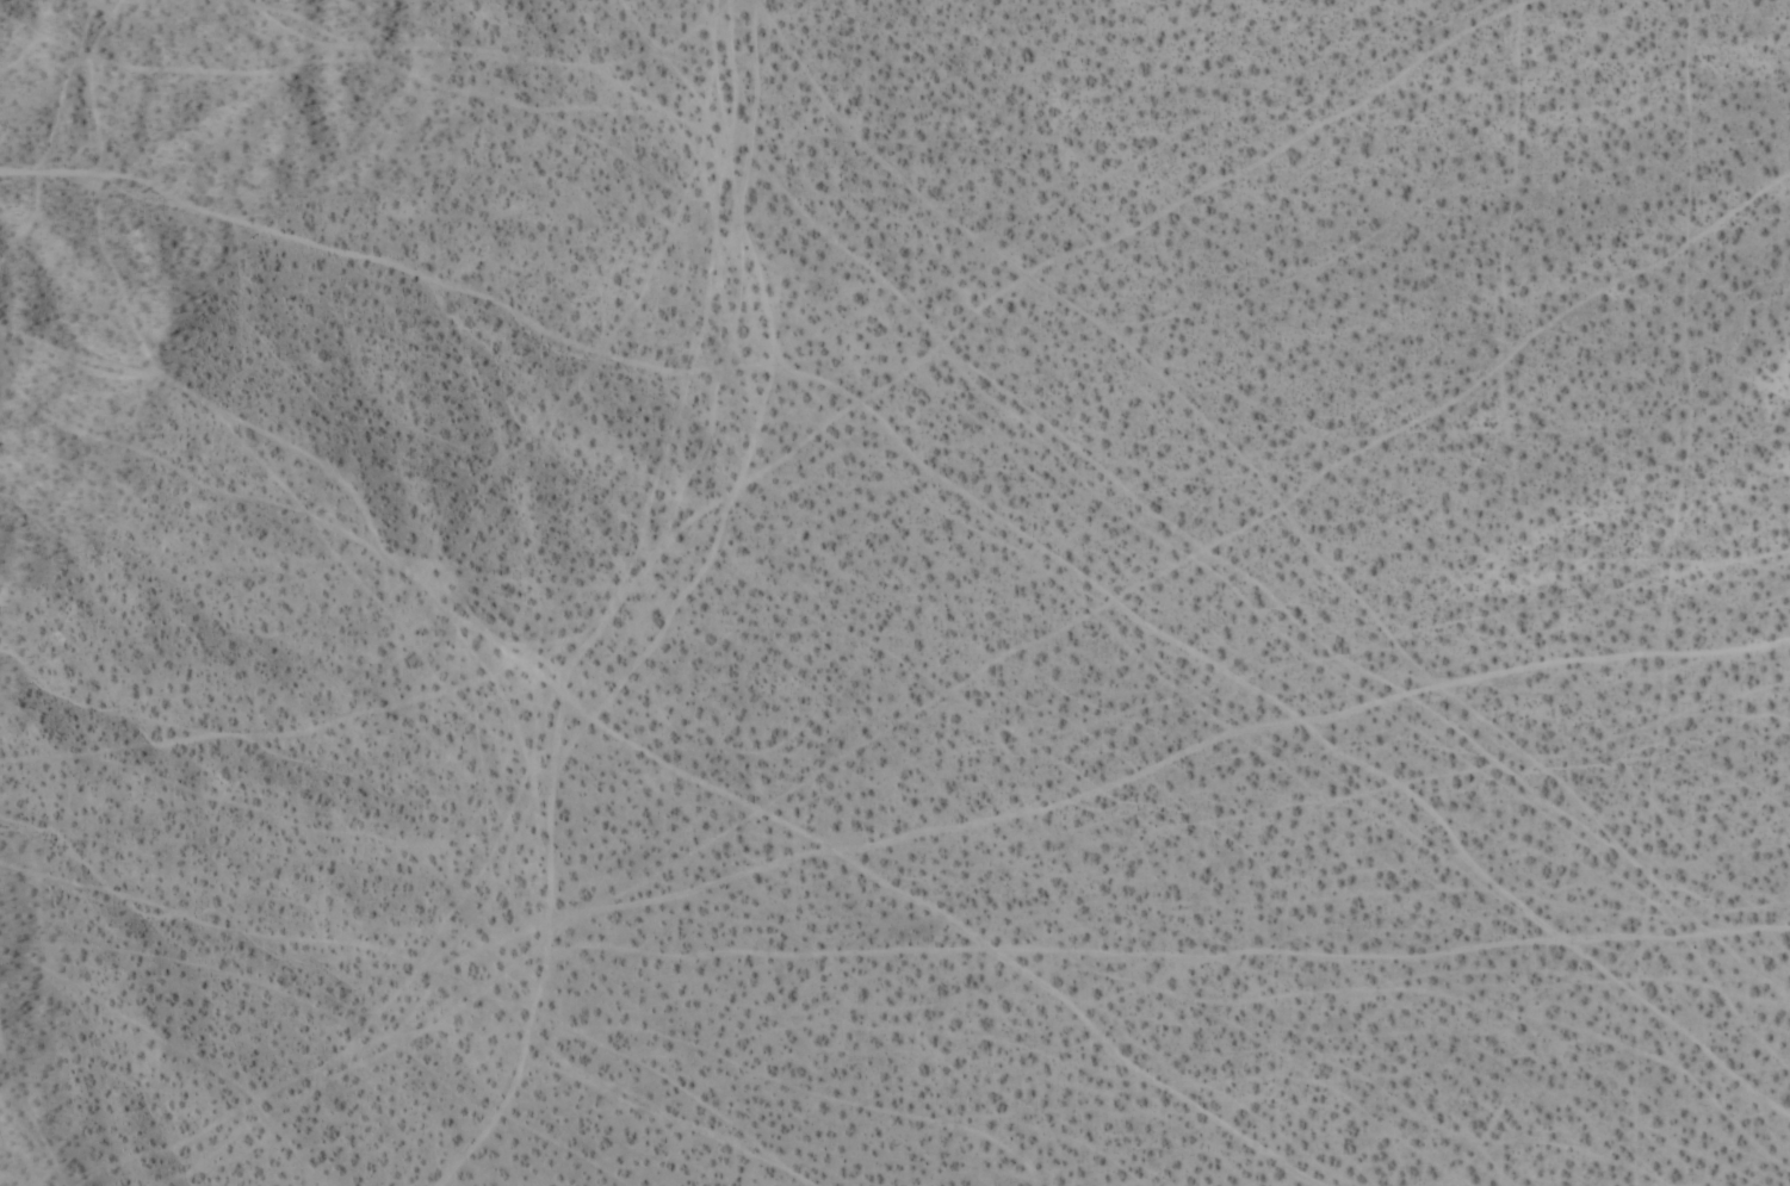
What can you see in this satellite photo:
crop: (894, 592)

